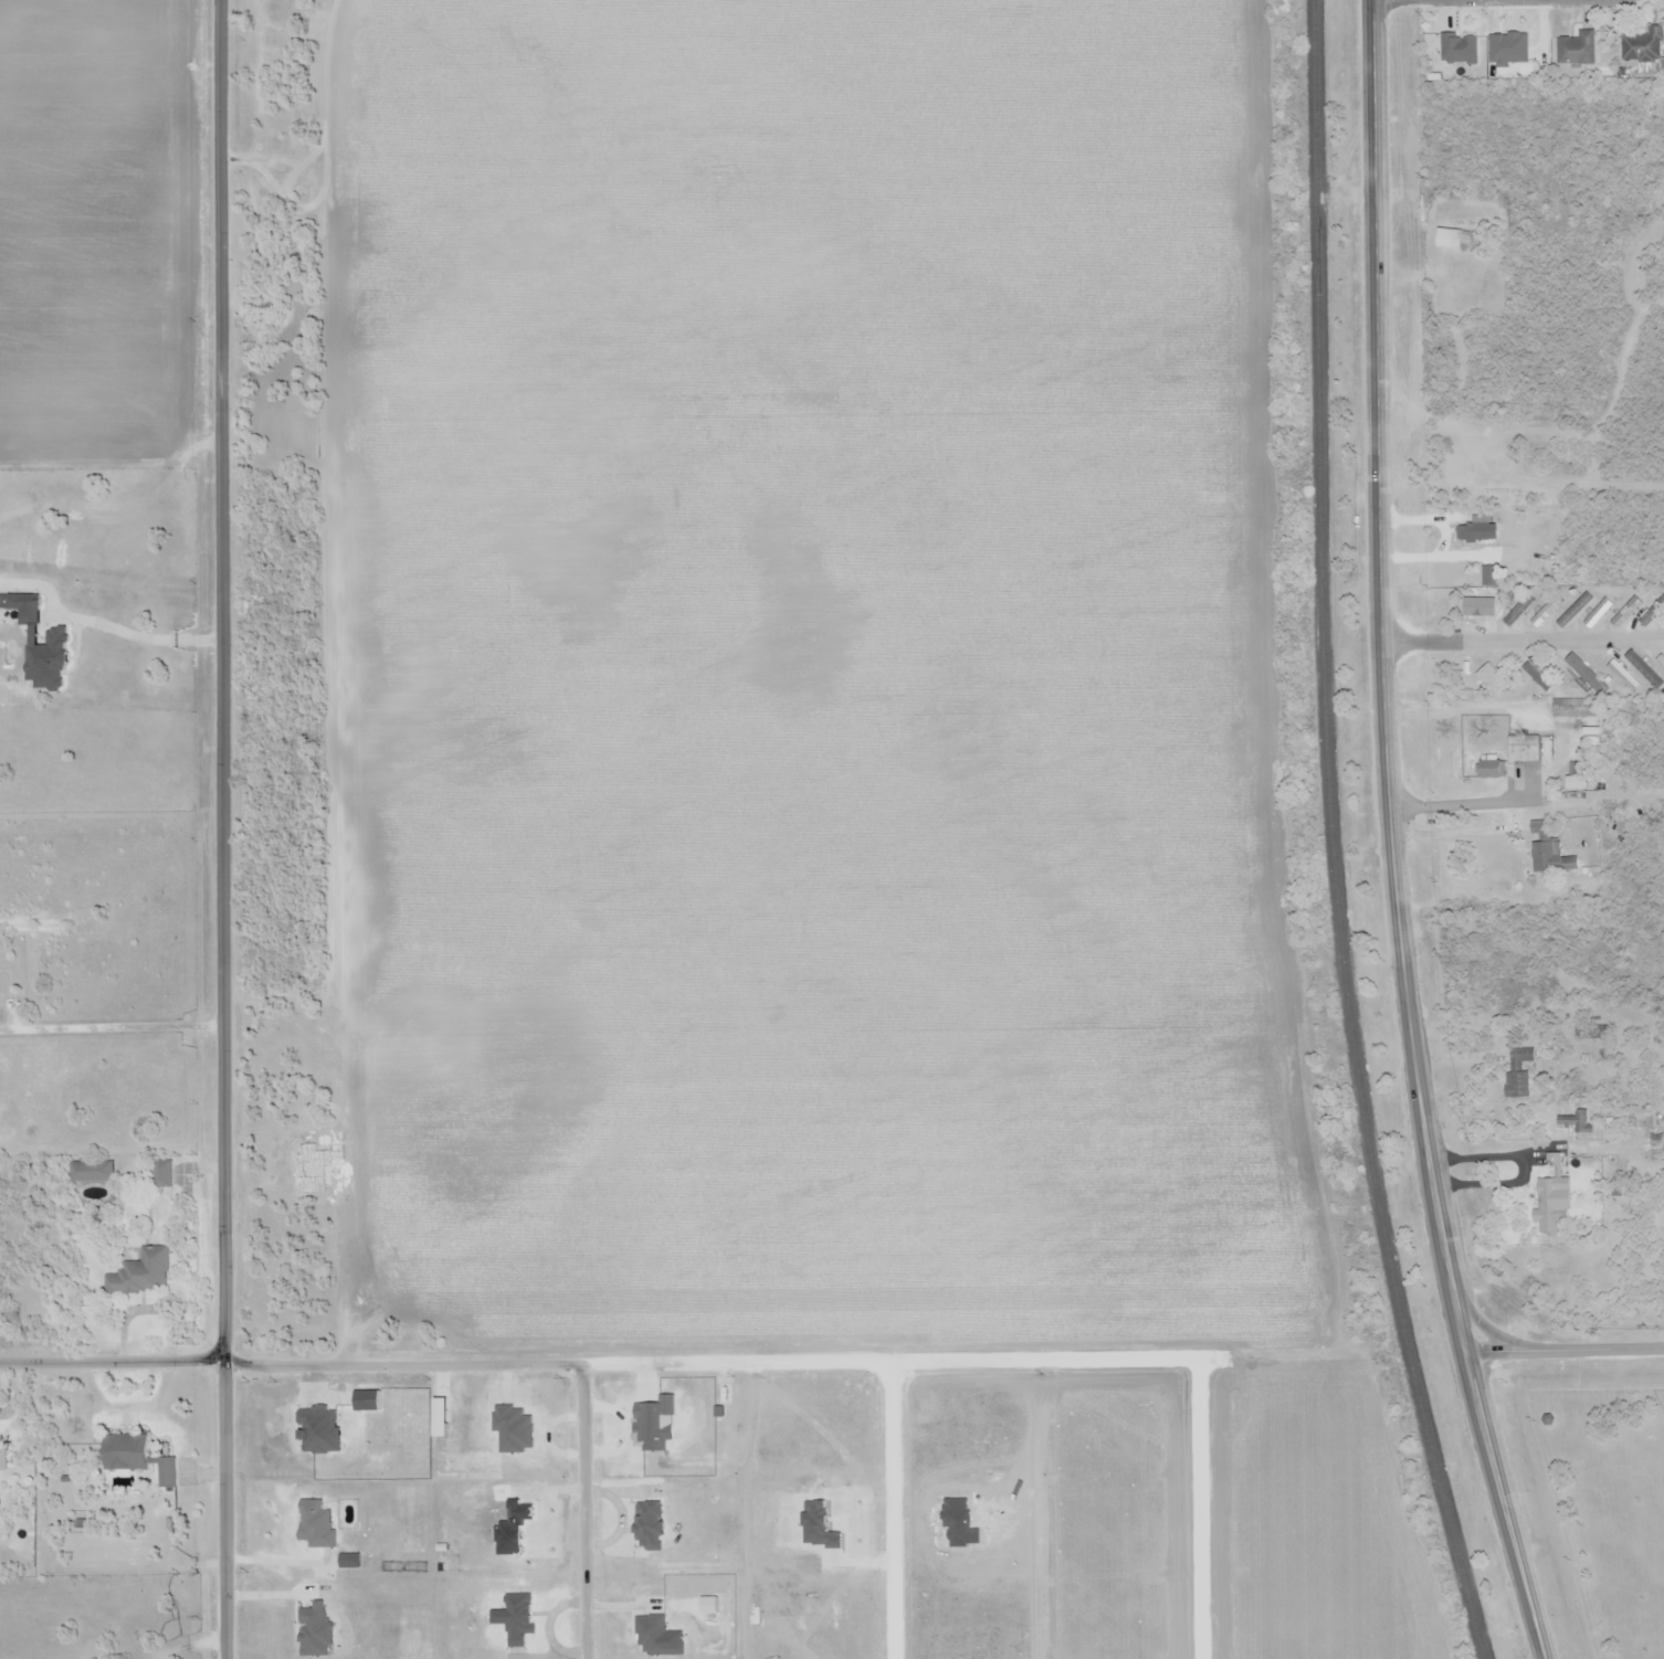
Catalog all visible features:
road: (1433, 1)
building: (1641, 46)
building: (1513, 50)
building: (1458, 51)
building: (1575, 52)
building: (1451, 239)
building: (1474, 530)
building: (1479, 605)
building: (1576, 612)
building: (1520, 613)
building: (1547, 613)
building: (1626, 613)
building: (1601, 614)
building: (1651, 614)
building: (1661, 664)
building: (1643, 673)
building: (1583, 674)
building: (1538, 677)
building: (1622, 677)
building: (1493, 680)
building: (1525, 751)
building: (1492, 769)
road: (223, 829)
road: (1396, 836)
railway: (1331, 837)
building: (1550, 854)
building: (1520, 1077)
building: (1577, 1122)
road: (1500, 1158)
building: (94, 1172)
building: (162, 1173)
road: (1491, 1183)
building: (1554, 1211)
building: (140, 1272)
road: (1566, 1353)
road: (864, 1361)
road: (114, 1362)
park: (1656, 1435)
building: (137, 1457)
building: (4, 1459)
park: (1602, 1507)
road: (583, 1510)
road: (892, 1510)

